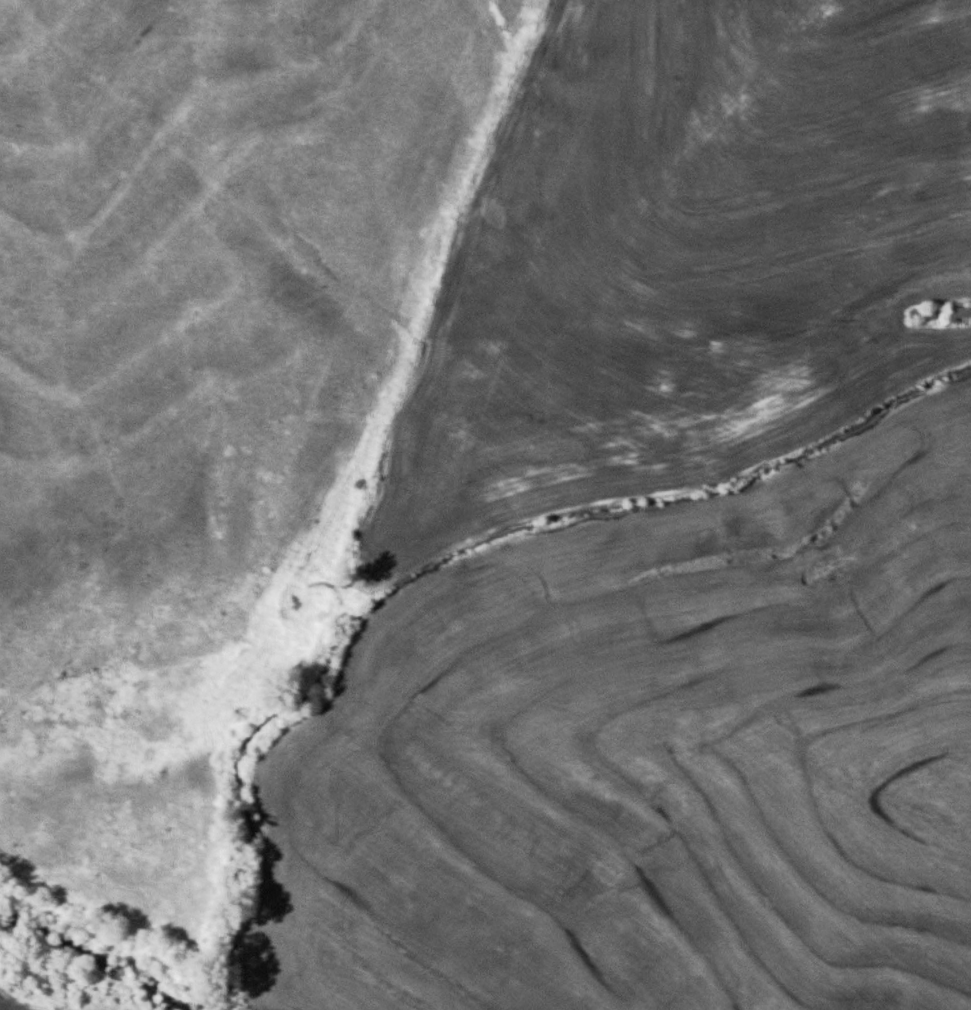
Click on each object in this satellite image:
building: (961, 312)
building: (925, 314)

